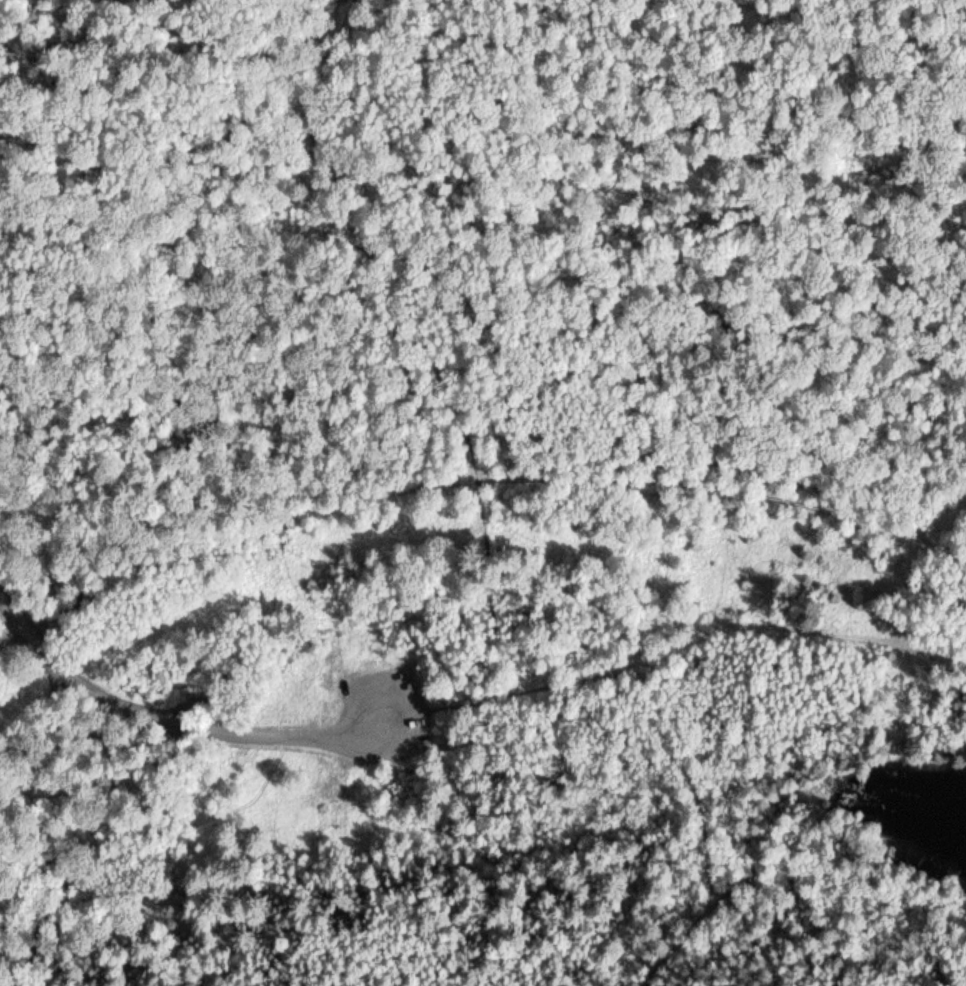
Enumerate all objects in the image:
road: (798, 631)
road: (651, 683)
parking lot: (382, 715)
road: (188, 725)
road: (676, 948)

